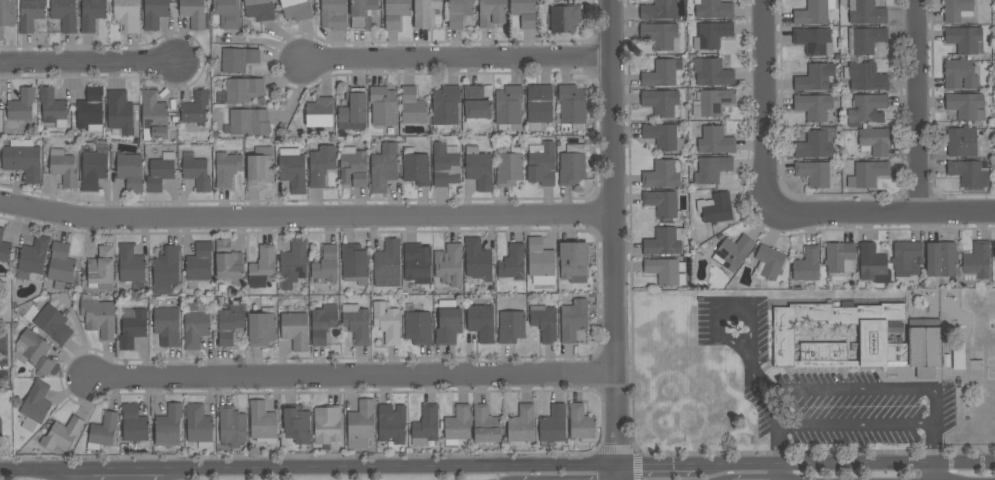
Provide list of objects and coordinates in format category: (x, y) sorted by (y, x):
building: (713, 9)
building: (259, 10)
building: (296, 10)
building: (658, 10)
building: (957, 10)
building: (395, 12)
building: (524, 12)
building: (813, 12)
building: (864, 12)
building: (154, 13)
building: (193, 13)
building: (227, 13)
building: (362, 13)
building: (425, 13)
building: (459, 13)
building: (491, 13)
building: (30, 14)
building: (91, 14)
building: (333, 14)
building: (6, 15)
building: (64, 15)
building: (127, 15)
building: (565, 19)
building: (713, 34)
building: (659, 35)
building: (865, 40)
building: (965, 40)
building: (814, 41)
building: (238, 60)
road: (457, 61)
road: (88, 64)
building: (712, 73)
building: (960, 74)
building: (660, 75)
building: (865, 77)
building: (815, 78)
building: (243, 90)
building: (713, 102)
building: (662, 103)
building: (476, 104)
building: (21, 105)
building: (383, 106)
building: (538, 106)
building: (966, 106)
building: (52, 107)
building: (413, 107)
building: (446, 107)
building: (508, 107)
road: (764, 107)
building: (813, 107)
road: (918, 107)
building: (195, 108)
building: (571, 108)
building: (867, 108)
building: (90, 109)
building: (120, 112)
building: (320, 112)
building: (353, 112)
building: (153, 117)
building: (249, 122)
building: (664, 137)
building: (715, 141)
building: (874, 141)
building: (960, 141)
building: (816, 144)
building: (22, 160)
building: (321, 165)
building: (445, 166)
building: (543, 166)
building: (572, 166)
building: (353, 167)
building: (63, 168)
building: (260, 168)
building: (383, 168)
building: (415, 168)
building: (479, 168)
building: (510, 168)
building: (226, 169)
building: (93, 170)
building: (292, 170)
building: (711, 170)
building: (130, 172)
building: (160, 172)
building: (969, 173)
building: (197, 174)
building: (663, 174)
building: (813, 174)
building: (868, 174)
building: (663, 204)
building: (715, 208)
road: (880, 214)
road: (306, 217)
road: (614, 233)
building: (664, 242)
building: (4, 249)
building: (994, 250)
building: (732, 252)
building: (34, 255)
building: (905, 255)
building: (840, 258)
building: (477, 259)
building: (941, 259)
building: (228, 261)
building: (540, 262)
building: (574, 262)
building: (199, 263)
building: (387, 263)
building: (417, 263)
building: (768, 263)
building: (293, 264)
building: (354, 264)
building: (512, 264)
building: (975, 264)
building: (326, 265)
building: (448, 265)
building: (807, 265)
building: (873, 265)
building: (61, 266)
building: (131, 267)
building: (262, 268)
building: (101, 269)
building: (166, 270)
building: (666, 271)
road: (724, 309)
building: (98, 316)
building: (573, 320)
building: (387, 322)
building: (481, 322)
building: (356, 323)
building: (544, 323)
building: (53, 324)
building: (196, 324)
building: (230, 324)
building: (323, 324)
building: (448, 324)
building: (167, 325)
building: (511, 326)
building: (417, 327)
building: (261, 328)
building: (133, 329)
building: (295, 330)
building: (925, 335)
building: (34, 352)
park: (991, 370)
road: (353, 377)
road: (766, 385)
parking lot: (824, 391)
road: (930, 403)
building: (35, 406)
building: (169, 421)
building: (262, 423)
building: (427, 423)
building: (134, 424)
building: (581, 424)
building: (230, 425)
building: (297, 425)
building: (327, 425)
building: (361, 425)
building: (388, 425)
building: (485, 425)
building: (553, 425)
building: (199, 426)
building: (457, 426)
building: (521, 426)
building: (103, 432)
building: (62, 434)
road: (931, 443)
road: (777, 445)
road: (885, 463)
road: (657, 465)
road: (736, 465)
road: (390, 468)
road: (118, 471)
road: (932, 471)
road: (37, 472)
road: (777, 472)
road: (618, 473)
road: (74, 476)

